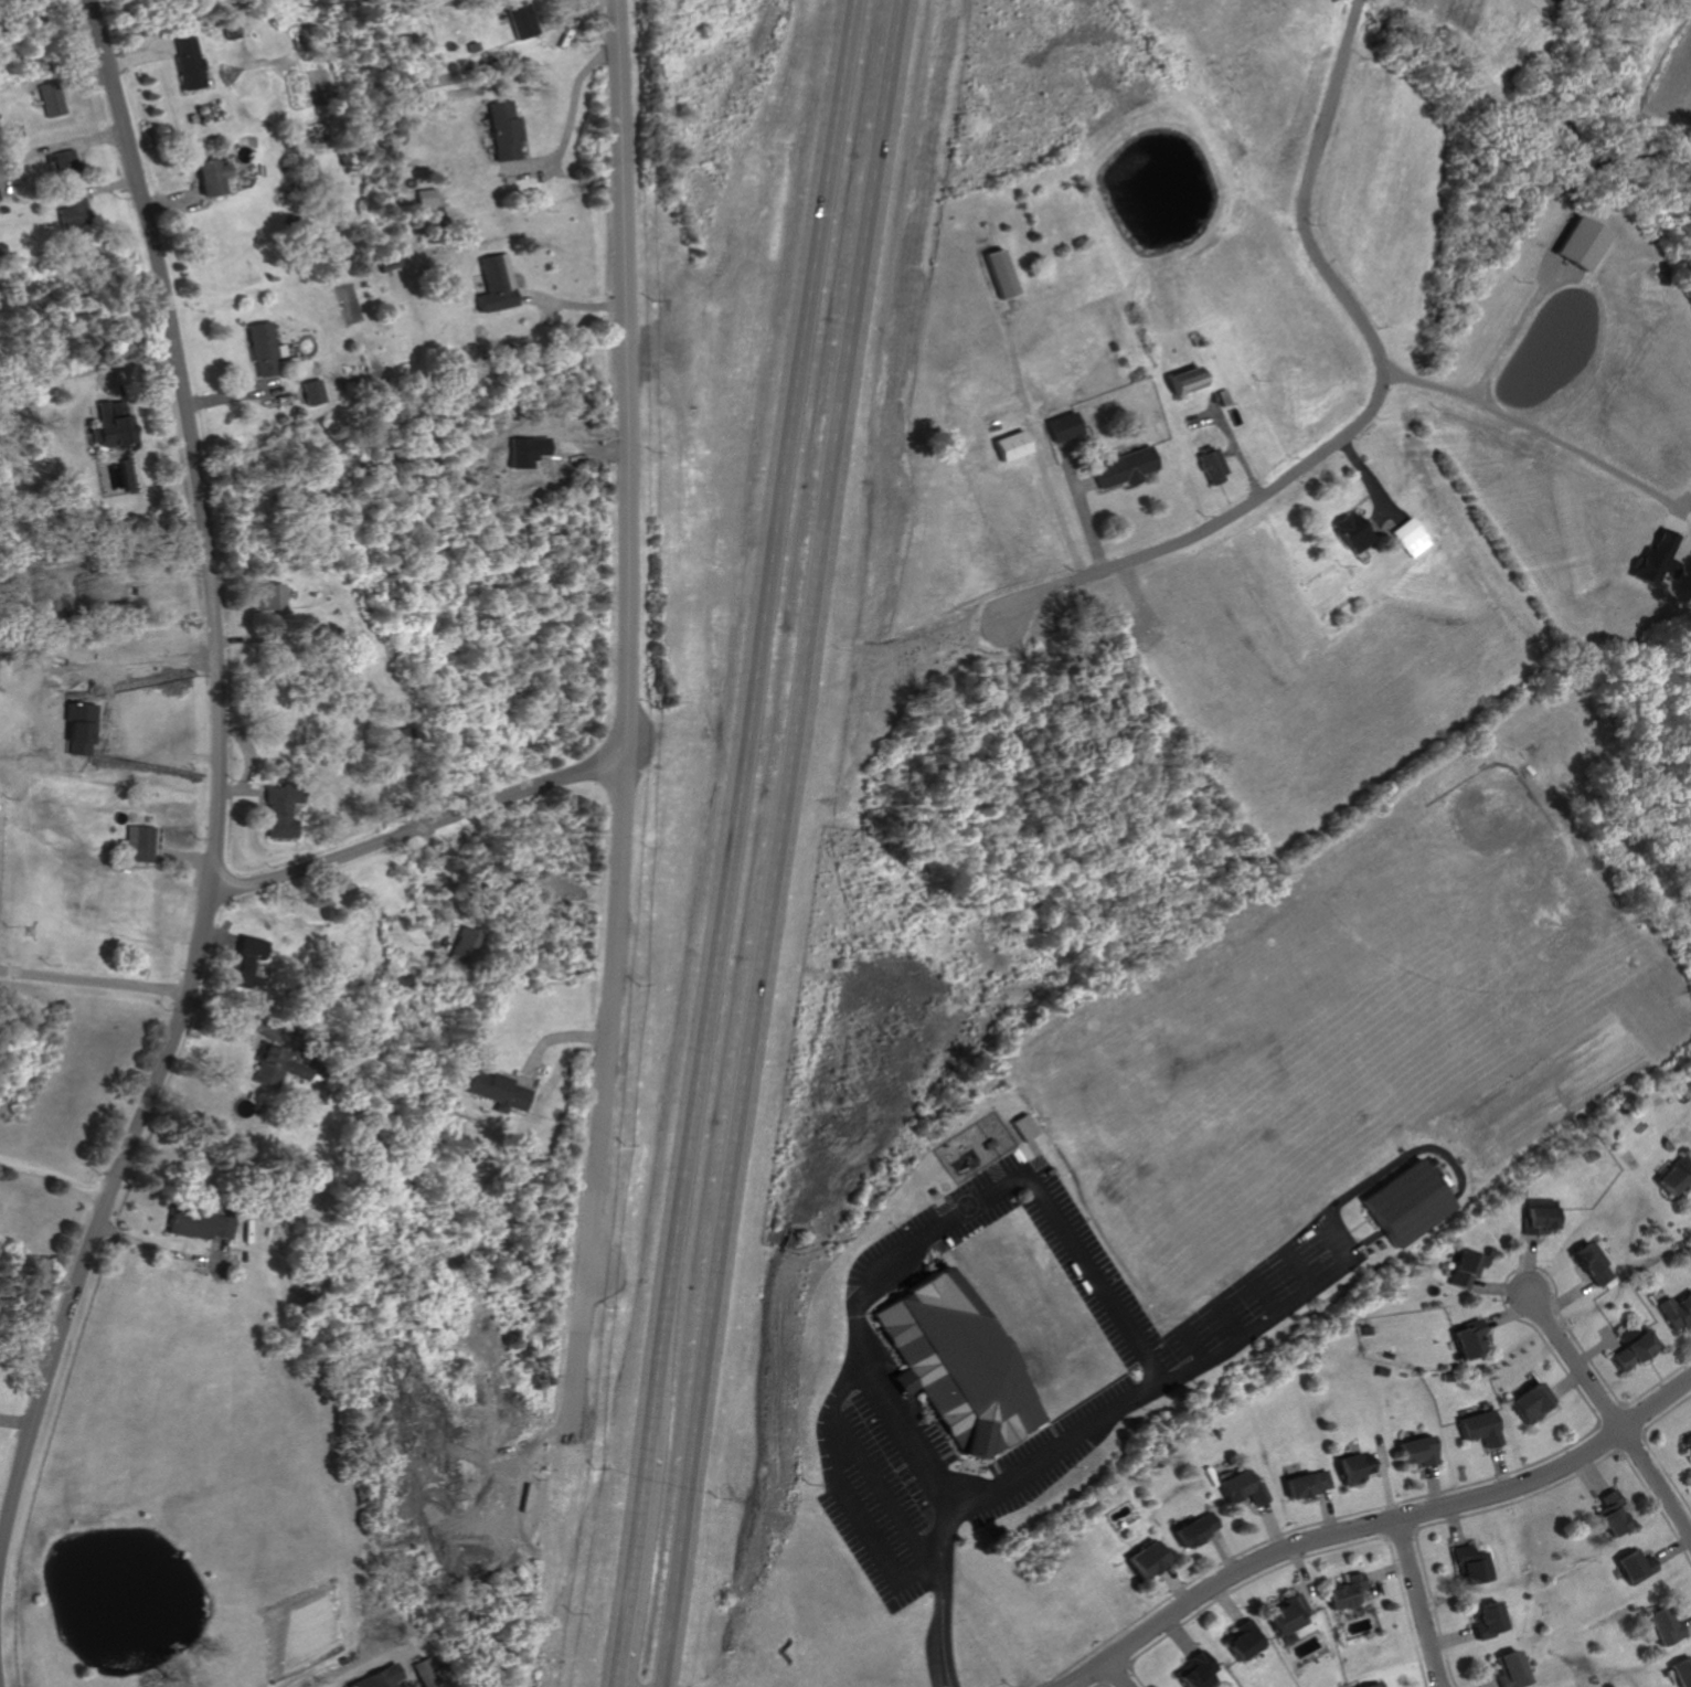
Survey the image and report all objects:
building: (519, 22)
building: (188, 64)
crop: (1665, 75)
building: (52, 102)
road: (573, 110)
building: (502, 132)
building: (65, 162)
building: (212, 178)
building: (427, 199)
building: (75, 214)
building: (1577, 241)
building: (1000, 275)
building: (498, 283)
road: (1518, 328)
building: (263, 349)
road: (86, 367)
building: (1185, 381)
building: (312, 392)
building: (1222, 396)
road: (1376, 403)
road: (1205, 420)
building: (113, 422)
building: (1065, 426)
road: (1549, 435)
building: (1013, 444)
road: (1038, 445)
road: (1236, 447)
building: (1212, 464)
building: (1126, 467)
road: (1373, 481)
road: (1087, 484)
road: (1083, 505)
road: (1384, 520)
building: (1354, 533)
building: (1414, 538)
building: (1662, 559)
building: (100, 591)
building: (272, 596)
road: (149, 661)
road: (754, 717)
road: (624, 719)
road: (217, 788)
building: (280, 811)
road: (416, 830)
building: (142, 843)
road: (783, 843)
road: (442, 881)
park: (1479, 893)
building: (466, 947)
building: (246, 961)
road: (94, 979)
building: (268, 1067)
building: (499, 1092)
crop: (1553, 1093)
building: (1027, 1123)
road: (53, 1175)
building: (1678, 1176)
road: (1039, 1190)
building: (1408, 1201)
building: (1541, 1221)
building: (195, 1224)
road: (1355, 1228)
road: (151, 1246)
road: (1347, 1250)
building: (1595, 1262)
road: (1532, 1263)
building: (1467, 1267)
road: (1301, 1269)
road: (1501, 1287)
road: (1267, 1294)
road: (1571, 1295)
building: (1680, 1312)
road: (1512, 1315)
road: (1232, 1318)
building: (1470, 1339)
road: (1197, 1343)
road: (1604, 1346)
building: (1639, 1350)
road: (1578, 1359)
building: (958, 1368)
parking lot: (1152, 1381)
road: (1568, 1383)
building: (1533, 1401)
road: (1614, 1410)
building: (1481, 1428)
building: (1690, 1440)
building: (1690, 1443)
road: (1636, 1444)
road: (1653, 1444)
building: (1417, 1450)
road: (1379, 1461)
road: (1529, 1464)
building: (1357, 1465)
road: (1501, 1466)
road: (1595, 1474)
road: (1659, 1476)
road: (1385, 1477)
building: (1306, 1482)
road: (1435, 1484)
building: (1246, 1488)
road: (886, 1493)
road: (849, 1495)
road: (1503, 1503)
road: (1329, 1509)
building: (1612, 1515)
road: (1385, 1519)
road: (1273, 1526)
road: (1456, 1527)
building: (1195, 1529)
road: (1402, 1535)
road: (1224, 1549)
road: (1674, 1551)
road: (1308, 1553)
road: (947, 1555)
building: (1147, 1559)
road: (630, 1560)
building: (1471, 1564)
building: (1636, 1564)
road: (1386, 1571)
road: (1305, 1574)
road: (1174, 1583)
building: (1347, 1591)
road: (1226, 1601)
road: (1418, 1602)
building: (1288, 1612)
building: (1488, 1617)
road: (1688, 1624)
building: (1665, 1628)
road: (940, 1634)
road: (1180, 1635)
road: (1453, 1635)
building: (1243, 1640)
building: (1510, 1669)
building: (1198, 1670)
building: (1682, 1670)
road: (1118, 1674)
road: (1120, 1675)
building: (379, 1678)
road: (945, 1679)
road: (1078, 1680)
road: (1104, 1683)
building: (1374, 1684)
road: (1490, 1684)

